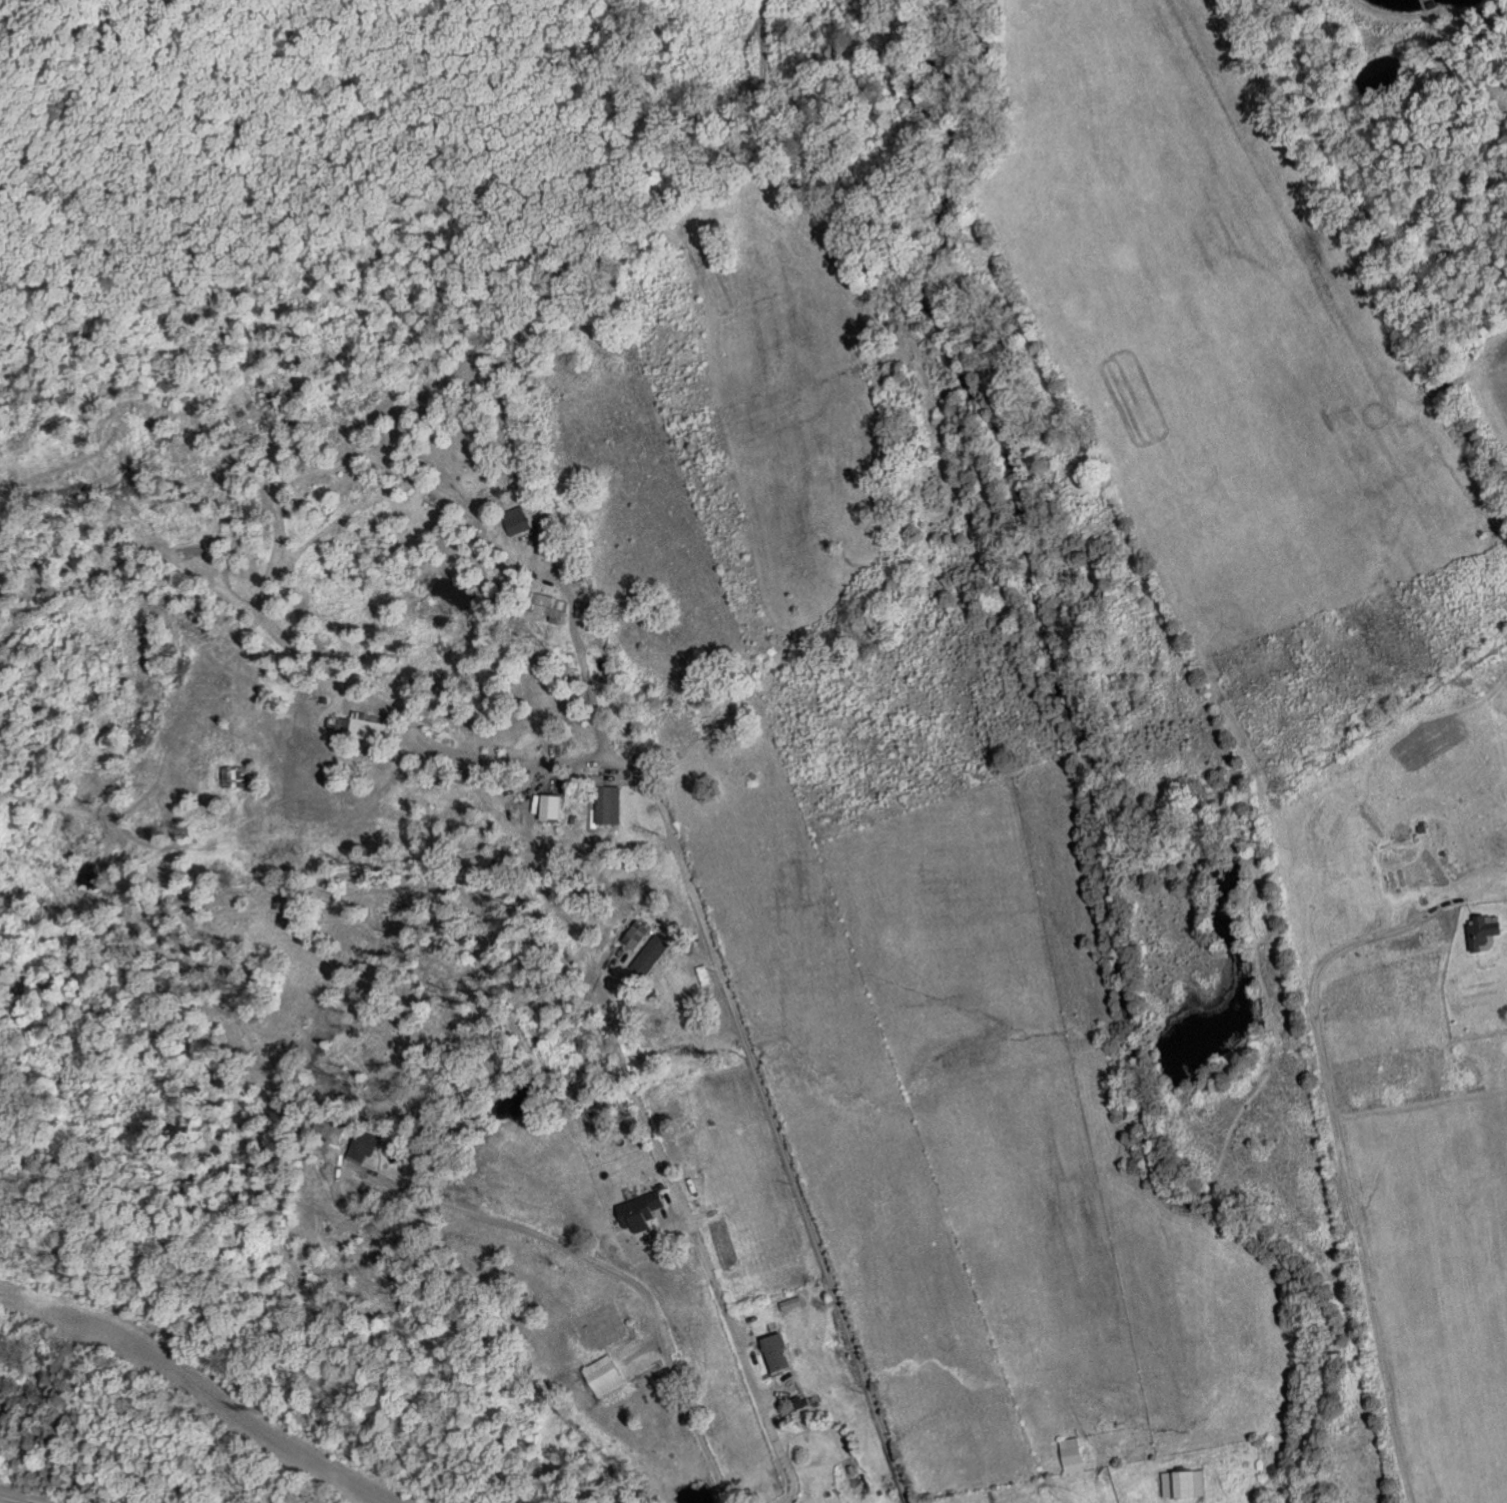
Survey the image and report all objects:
road: (1432, 13)
building: (514, 520)
building: (546, 607)
road: (570, 623)
building: (359, 726)
building: (605, 802)
building: (549, 807)
building: (1483, 932)
building: (634, 935)
building: (651, 953)
building: (702, 975)
road: (739, 1021)
road: (1339, 1143)
building: (360, 1147)
road: (665, 1164)
road: (334, 1189)
building: (641, 1210)
road: (638, 1285)
building: (789, 1302)
building: (774, 1351)
building: (602, 1375)
building: (1071, 1455)
building: (1183, 1483)
road: (21, 1497)

